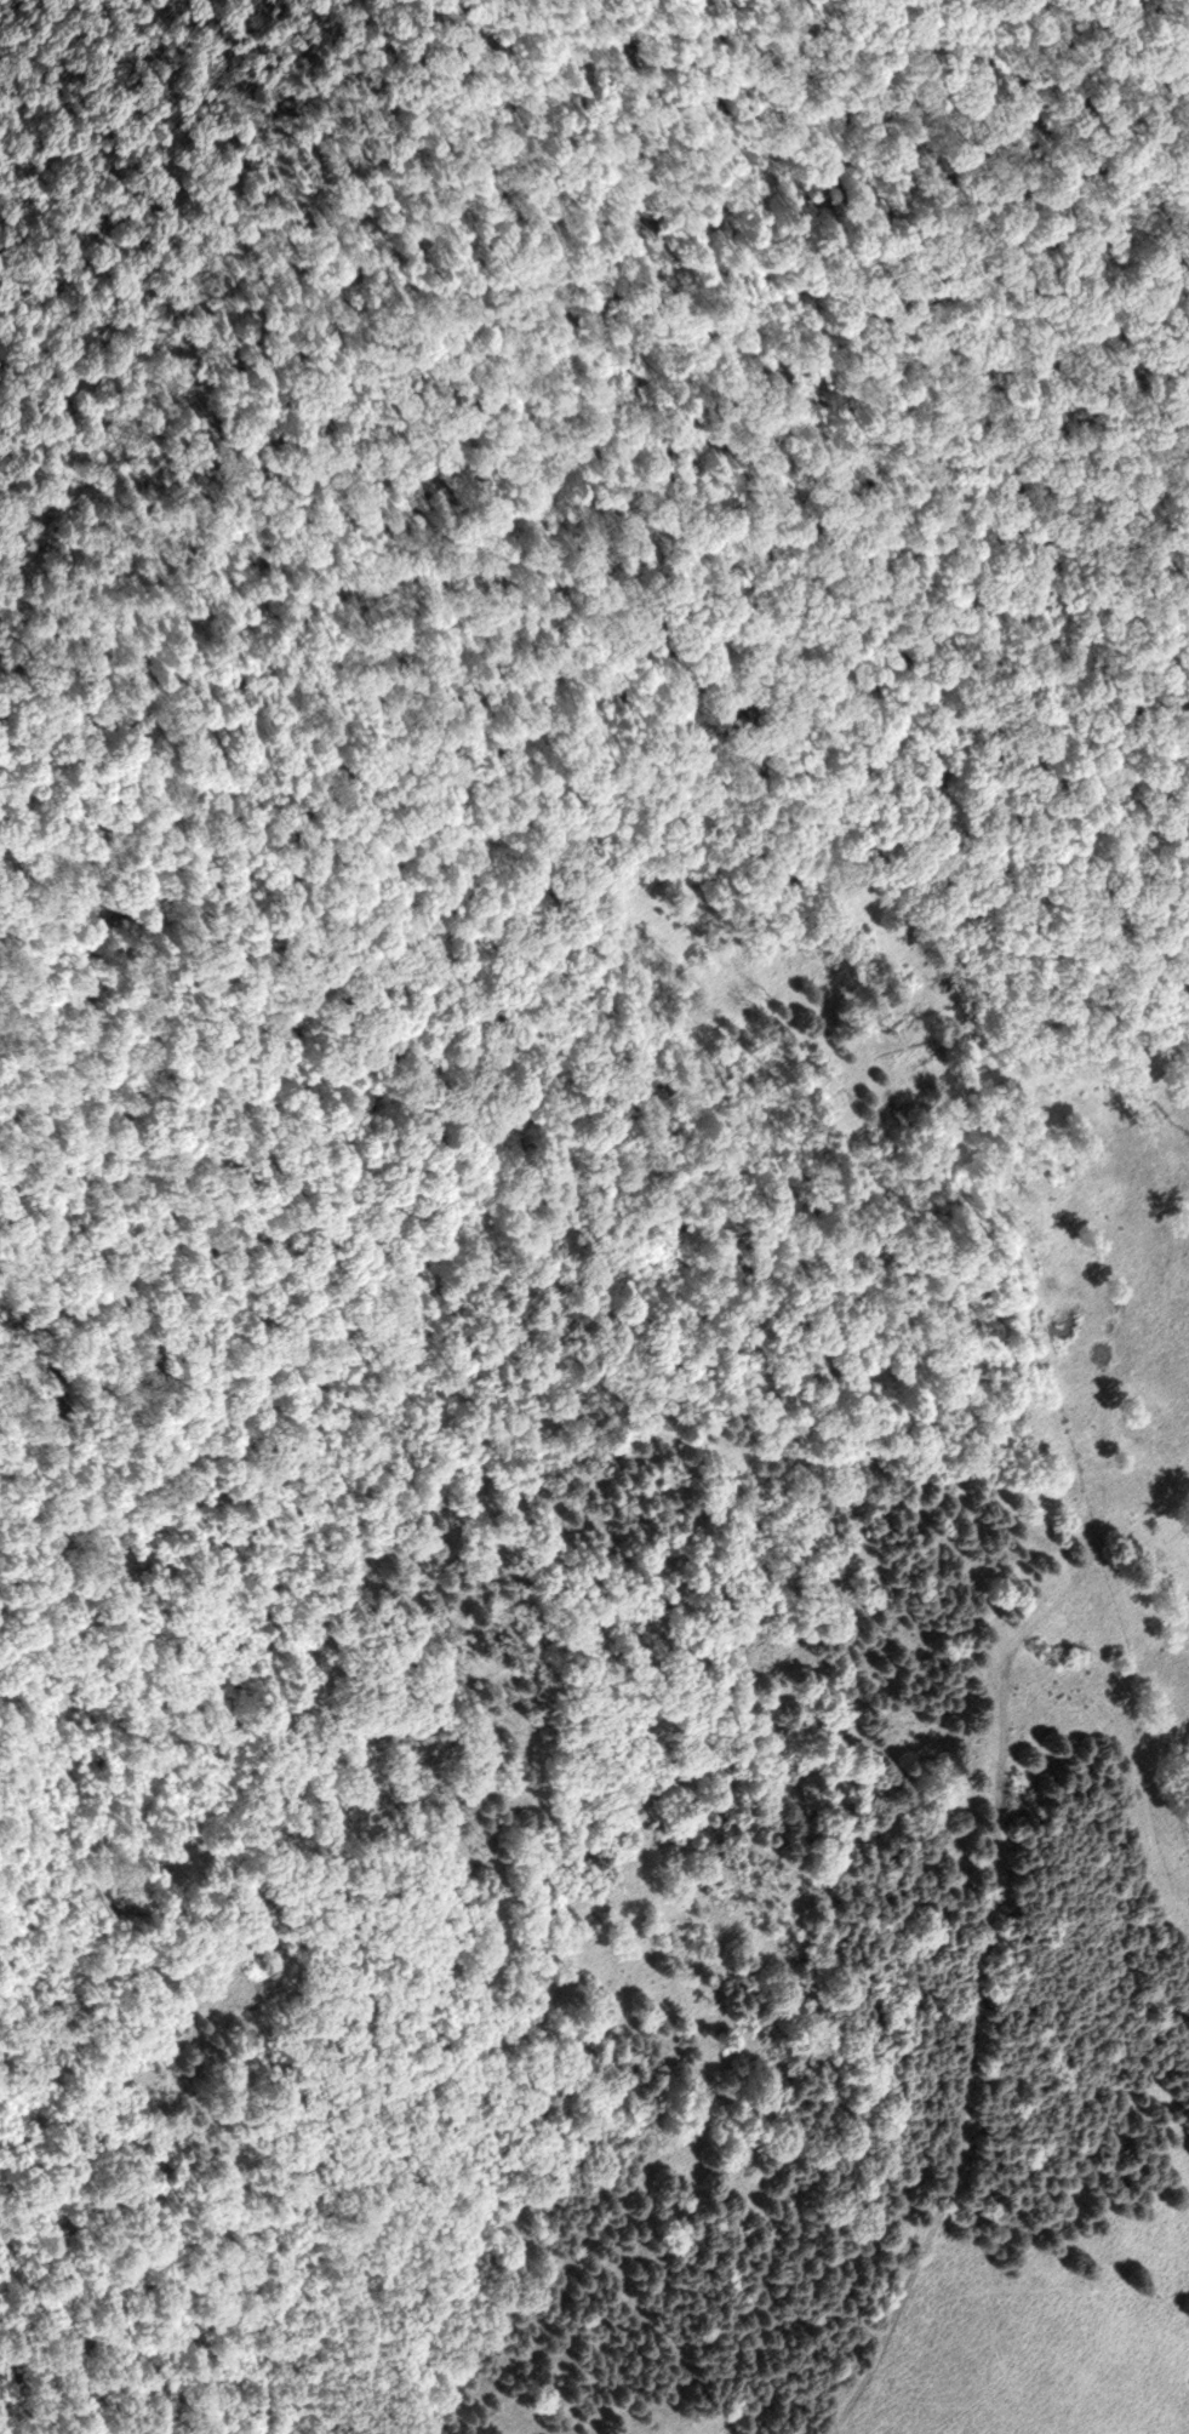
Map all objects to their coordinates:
road: (422, 642)
road: (985, 1971)

